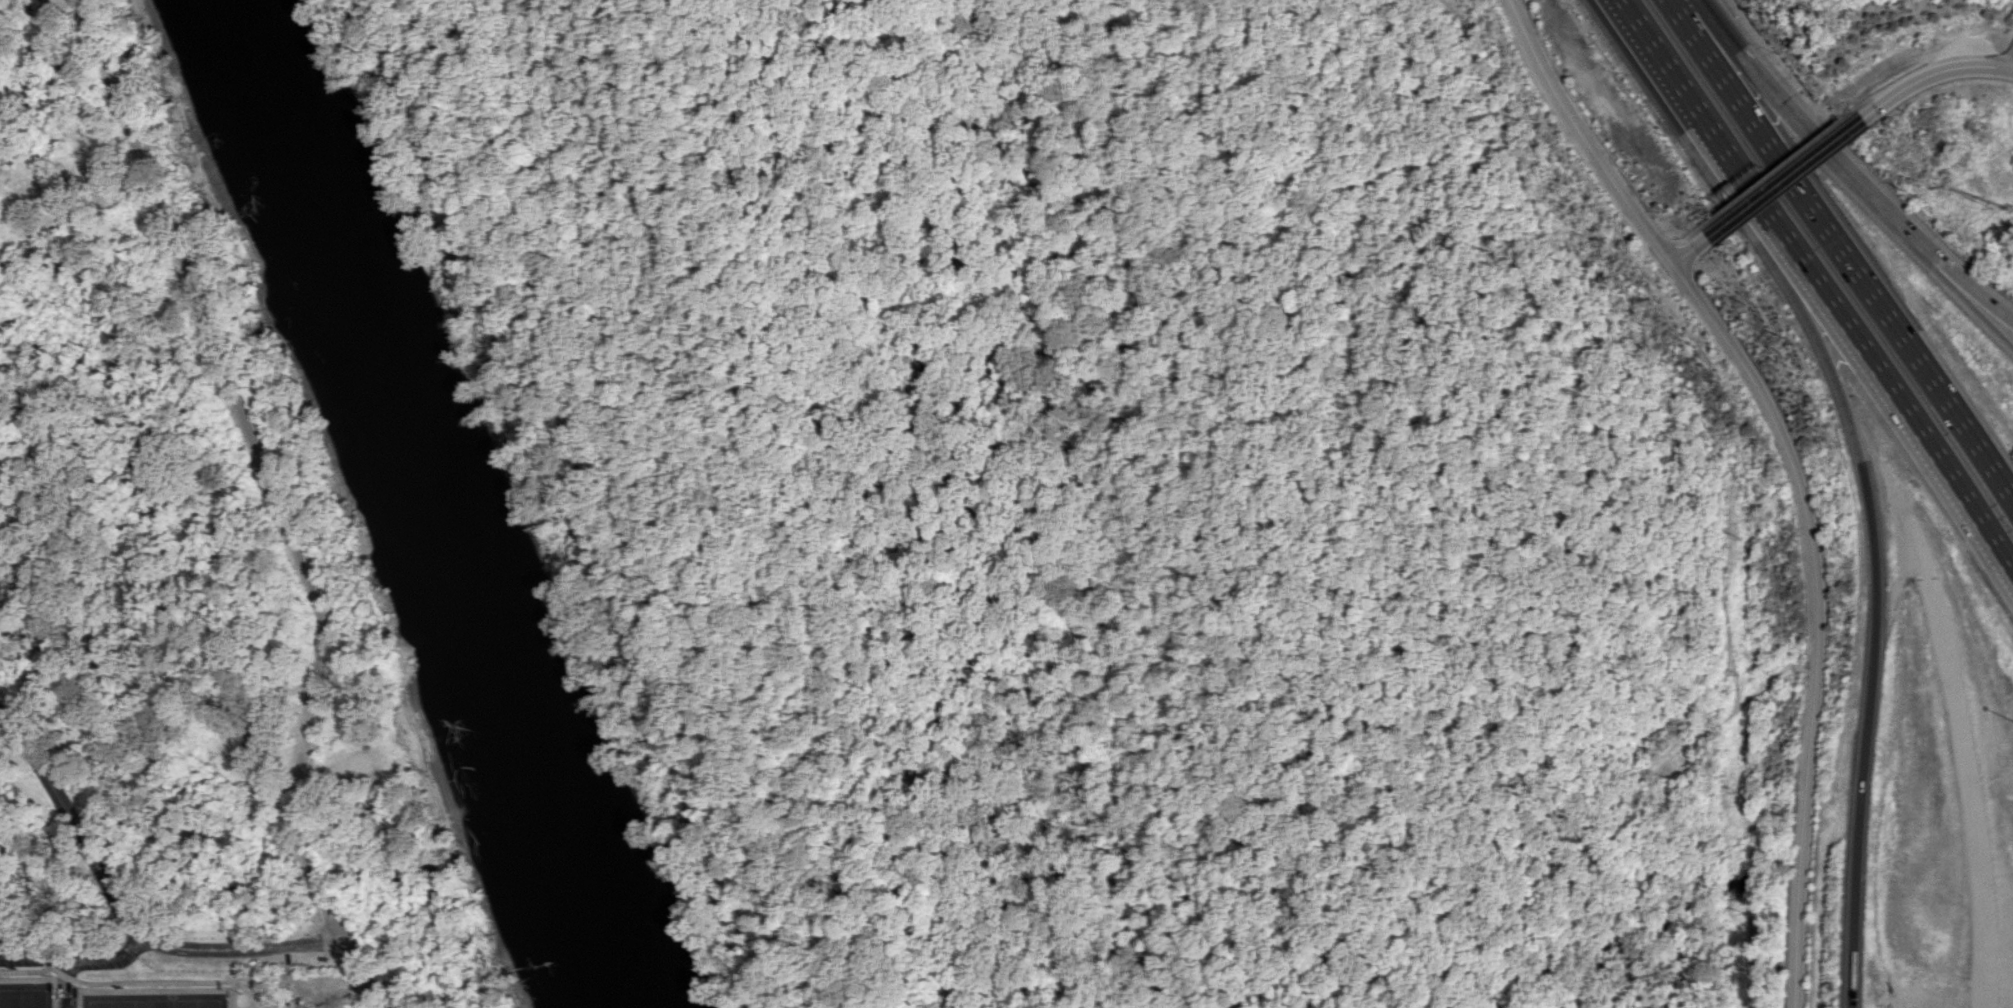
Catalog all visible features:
road: (1657, 1)
building: (24, 3)
road: (49, 8)
road: (1639, 42)
road: (1933, 75)
road: (1795, 124)
road: (1572, 135)
road: (1773, 167)
building: (93, 175)
road: (1781, 178)
road: (1529, 194)
building: (14, 197)
road: (79, 208)
road: (1835, 247)
road: (1680, 251)
road: (1970, 284)
road: (1967, 301)
road: (1841, 325)
road: (1155, 365)
road: (1083, 429)
road: (252, 445)
park: (1124, 499)
river: (436, 500)
road: (551, 505)
road: (744, 509)
road: (1903, 523)
road: (1488, 572)
road: (1325, 593)
road: (1805, 616)
road: (1782, 670)
building: (256, 719)
road: (1054, 719)
building: (359, 764)
road: (259, 771)
road: (319, 777)
road: (73, 823)
road: (1436, 847)
road: (335, 920)
road: (241, 945)
road: (794, 949)
road: (75, 960)
road: (999, 960)
road: (361, 972)
road: (746, 976)
road: (133, 983)
park: (26, 997)
park: (160, 1003)

